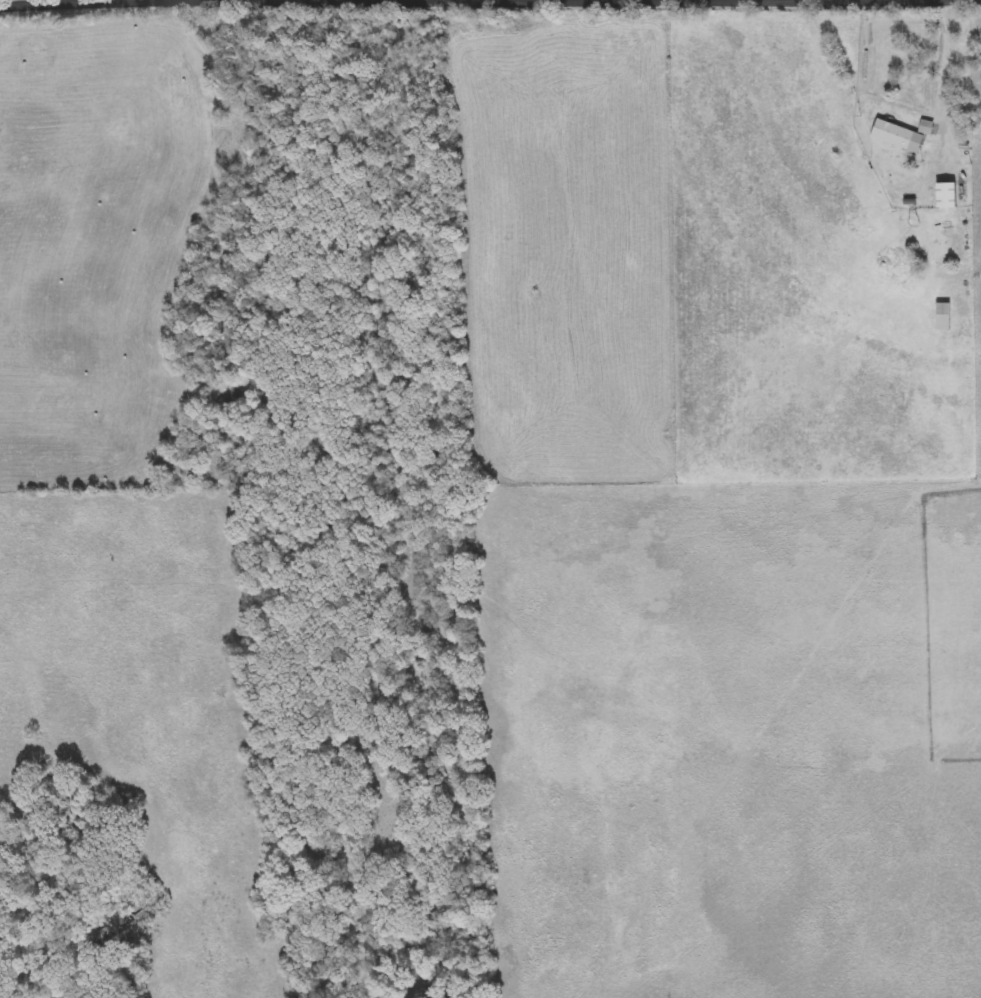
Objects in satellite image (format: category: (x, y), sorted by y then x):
road: (332, 0)
road: (48, 3)
road: (944, 80)
building: (902, 135)
building: (947, 196)
building: (944, 316)

